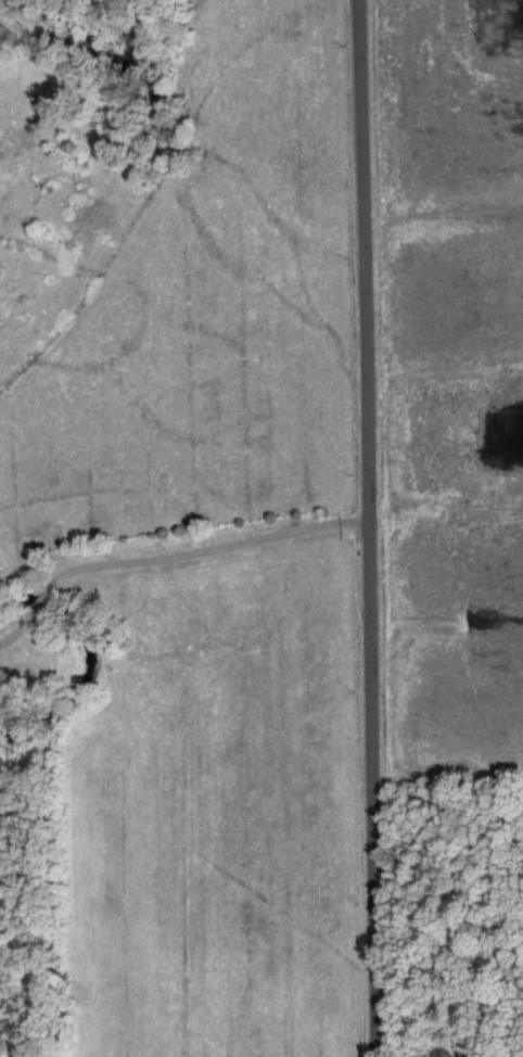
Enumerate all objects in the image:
road: (371, 528)
road: (168, 557)

